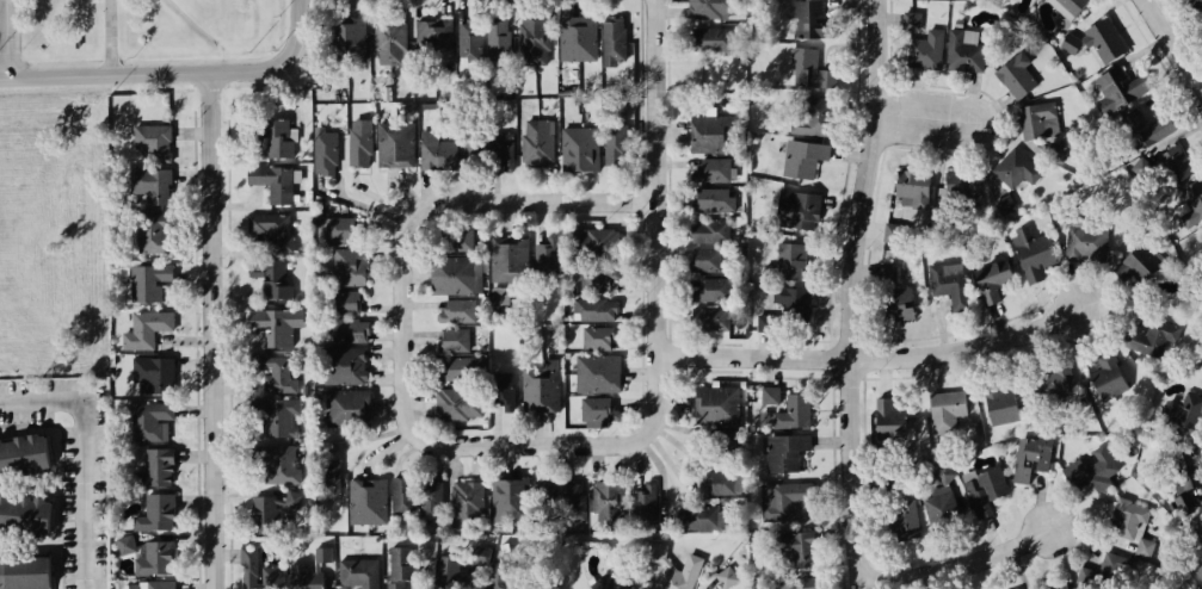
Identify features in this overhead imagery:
building: (1068, 6)
building: (710, 7)
building: (1192, 8)
building: (808, 19)
building: (907, 19)
building: (1201, 26)
road: (116, 38)
building: (431, 38)
building: (611, 39)
building: (480, 41)
building: (1102, 41)
road: (7, 42)
building: (715, 42)
road: (1176, 42)
building: (346, 43)
building: (531, 43)
building: (1070, 43)
building: (575, 45)
building: (388, 48)
building: (924, 49)
building: (961, 50)
building: (813, 72)
road: (179, 74)
building: (1015, 75)
building: (1117, 89)
road: (921, 91)
road: (921, 116)
building: (813, 118)
building: (1036, 120)
building: (1142, 128)
building: (710, 132)
building: (276, 138)
building: (154, 142)
building: (393, 148)
building: (474, 148)
building: (535, 149)
building: (578, 149)
building: (1054, 150)
building: (359, 151)
building: (436, 151)
building: (323, 154)
building: (494, 154)
building: (618, 154)
road: (851, 154)
building: (802, 156)
building: (1173, 162)
building: (713, 167)
building: (1013, 168)
building: (149, 182)
building: (275, 184)
building: (962, 186)
building: (911, 188)
building: (713, 198)
road: (562, 200)
building: (1190, 200)
building: (1003, 203)
building: (802, 211)
building: (337, 228)
building: (273, 230)
building: (709, 230)
building: (893, 232)
building: (146, 234)
road: (664, 234)
building: (458, 238)
building: (1086, 244)
building: (600, 250)
road: (832, 253)
building: (1033, 253)
building: (705, 258)
building: (507, 260)
building: (549, 261)
building: (785, 261)
building: (1134, 261)
building: (347, 267)
building: (886, 271)
building: (451, 274)
building: (269, 278)
building: (992, 278)
building: (947, 280)
building: (146, 285)
road: (643, 286)
building: (598, 287)
building: (711, 290)
road: (857, 294)
building: (789, 298)
building: (895, 302)
building: (344, 304)
building: (455, 315)
road: (642, 316)
building: (594, 317)
building: (710, 317)
road: (411, 321)
building: (763, 323)
building: (273, 328)
building: (144, 329)
building: (345, 329)
road: (221, 331)
building: (1148, 339)
building: (458, 343)
road: (641, 343)
building: (598, 346)
road: (879, 355)
building: (343, 366)
building: (144, 373)
building: (454, 373)
building: (597, 373)
building: (272, 376)
road: (641, 376)
building: (1107, 377)
building: (1052, 378)
building: (771, 395)
building: (503, 397)
building: (544, 397)
road: (636, 401)
road: (677, 401)
building: (998, 402)
building: (714, 404)
building: (457, 408)
building: (345, 409)
building: (593, 409)
building: (791, 410)
building: (942, 410)
building: (1179, 413)
building: (147, 420)
building: (889, 420)
building: (275, 421)
road: (674, 427)
road: (833, 439)
road: (540, 444)
building: (722, 444)
building: (784, 449)
road: (86, 451)
road: (686, 451)
building: (1030, 458)
building: (29, 459)
road: (653, 460)
building: (277, 464)
road: (636, 464)
building: (153, 467)
road: (671, 467)
building: (1101, 467)
building: (1188, 467)
building: (1073, 472)
building: (944, 473)
building: (322, 479)
building: (722, 480)
building: (986, 490)
building: (544, 497)
building: (501, 500)
building: (612, 500)
building: (782, 501)
building: (1181, 501)
building: (415, 503)
building: (464, 503)
building: (649, 504)
building: (366, 506)
building: (569, 506)
building: (937, 506)
building: (275, 511)
building: (154, 513)
building: (25, 519)
building: (902, 519)
building: (701, 522)
building: (1129, 523)
road: (838, 534)
road: (994, 534)
building: (127, 545)
building: (794, 547)
building: (152, 559)
road: (962, 565)
building: (282, 569)
building: (411, 569)
building: (469, 569)
building: (362, 570)
building: (1105, 571)
building: (1198, 572)
building: (29, 573)
building: (678, 575)
building: (503, 576)
building: (725, 576)
building: (614, 579)
building: (1059, 583)
building: (150, 584)
building: (800, 584)
building: (1188, 584)
building: (1015, 588)
building: (1019, 588)

